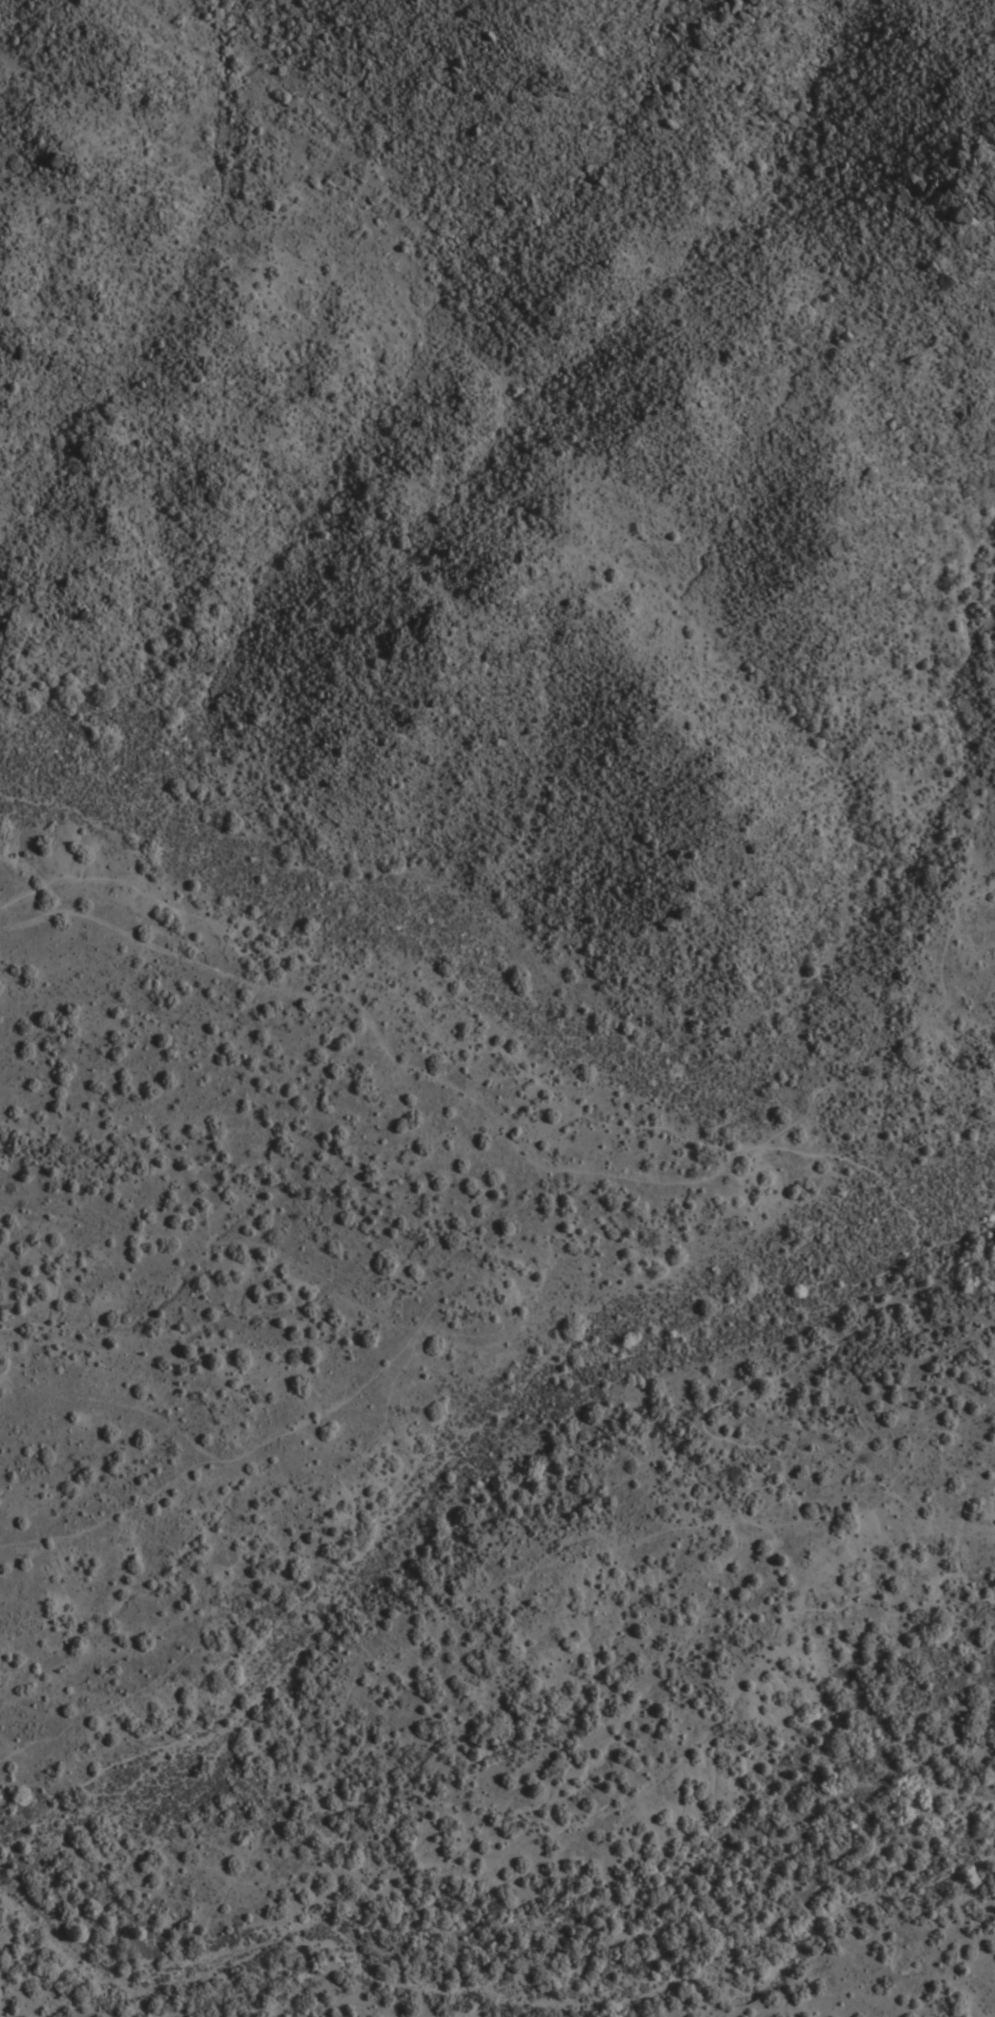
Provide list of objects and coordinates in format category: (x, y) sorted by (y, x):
road: (772, 1141)
park: (499, 1361)

